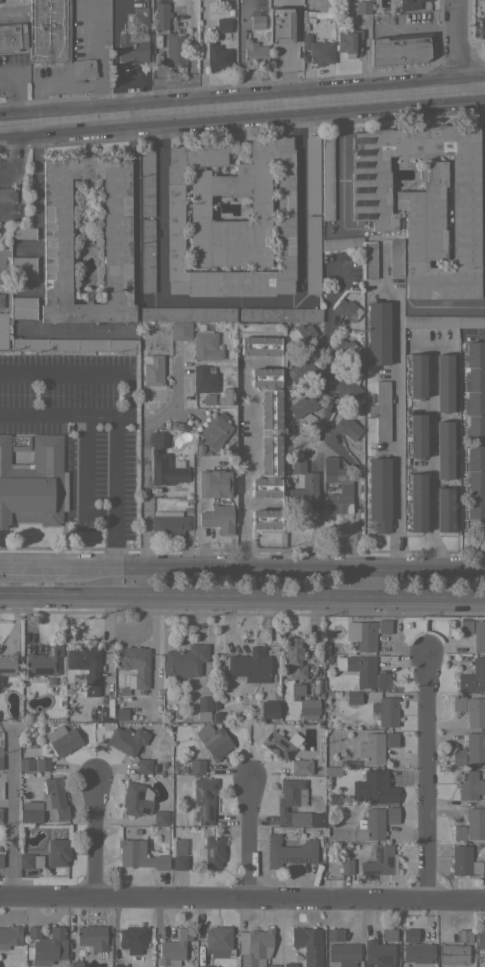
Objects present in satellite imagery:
building: (226, 0)
building: (408, 1)
building: (362, 6)
building: (160, 16)
building: (256, 21)
building: (280, 25)
building: (482, 27)
building: (49, 31)
building: (12, 37)
building: (133, 39)
road: (454, 41)
building: (348, 42)
building: (220, 45)
building: (174, 48)
building: (400, 48)
building: (318, 50)
building: (254, 53)
road: (96, 54)
building: (82, 69)
building: (171, 76)
road: (57, 89)
road: (14, 91)
road: (258, 98)
road: (17, 119)
road: (2, 120)
road: (484, 124)
road: (34, 143)
road: (14, 151)
road: (341, 161)
building: (312, 174)
building: (326, 177)
building: (146, 182)
building: (7, 194)
road: (158, 203)
building: (423, 203)
road: (5, 209)
building: (230, 221)
building: (22, 232)
building: (116, 234)
road: (38, 235)
building: (312, 254)
building: (146, 255)
building: (395, 257)
building: (368, 264)
building: (22, 267)
road: (300, 268)
building: (1, 301)
building: (23, 307)
road: (446, 308)
building: (346, 309)
building: (187, 313)
building: (281, 314)
building: (443, 320)
building: (2, 330)
building: (180, 331)
building: (377, 332)
building: (300, 334)
building: (73, 344)
building: (259, 345)
road: (424, 345)
building: (206, 346)
building: (346, 348)
building: (152, 370)
building: (300, 371)
building: (415, 375)
building: (265, 377)
building: (204, 378)
building: (443, 382)
building: (346, 388)
building: (474, 390)
road: (129, 396)
building: (301, 406)
building: (270, 409)
building: (380, 410)
road: (59, 414)
road: (323, 421)
building: (346, 427)
building: (215, 430)
building: (415, 435)
building: (159, 439)
road: (393, 440)
building: (444, 449)
road: (145, 452)
building: (271, 455)
road: (431, 457)
road: (88, 458)
road: (251, 465)
building: (167, 470)
building: (33, 483)
building: (214, 483)
building: (265, 487)
building: (303, 487)
building: (345, 488)
building: (475, 488)
building: (378, 493)
building: (415, 502)
building: (443, 509)
building: (218, 518)
building: (265, 518)
building: (169, 522)
road: (32, 567)
road: (275, 568)
road: (242, 597)
building: (465, 626)
building: (370, 633)
building: (478, 636)
building: (294, 656)
building: (184, 660)
building: (43, 661)
building: (7, 664)
building: (250, 665)
building: (83, 667)
building: (133, 667)
building: (367, 672)
building: (473, 676)
building: (298, 689)
building: (353, 697)
building: (203, 707)
building: (308, 708)
building: (268, 709)
building: (471, 709)
building: (386, 711)
building: (126, 739)
building: (62, 740)
building: (213, 740)
building: (277, 745)
building: (375, 746)
building: (1, 750)
building: (470, 750)
building: (34, 764)
building: (196, 765)
building: (143, 766)
building: (301, 766)
building: (331, 770)
road: (426, 777)
building: (469, 784)
building: (375, 787)
rooftop solar panel: (199, 792)
rooftop solar panel: (208, 794)
rooftop solar panel: (139, 795)
building: (54, 798)
building: (134, 799)
building: (203, 799)
building: (291, 803)
building: (31, 804)
road: (10, 811)
rooftop solar panel: (202, 811)
rooftop solar panel: (209, 811)
building: (0, 814)
building: (391, 814)
building: (30, 815)
building: (160, 818)
building: (370, 825)
building: (471, 825)
road: (247, 837)
road: (94, 838)
rooftop solar panel: (269, 847)
building: (211, 851)
building: (289, 851)
building: (58, 852)
rooftop solar panel: (209, 853)
building: (139, 855)
rooftop solar panel: (293, 858)
building: (382, 859)
building: (1, 860)
building: (30, 861)
building: (465, 861)
building: (179, 862)
building: (341, 866)
road: (242, 896)
building: (334, 934)
building: (388, 934)
building: (409, 934)
building: (463, 935)
building: (9, 936)
building: (92, 936)
building: (304, 936)
building: (132, 938)
building: (218, 942)
building: (480, 942)
building: (46, 945)
building: (254, 946)
building: (174, 948)
building: (418, 952)
building: (344, 953)
building: (453, 953)
building: (379, 954)
rooftop solar panel: (384, 958)
building: (75, 964)
building: (118, 965)
building: (289, 965)
building: (205, 966)
building: (273, 966)

